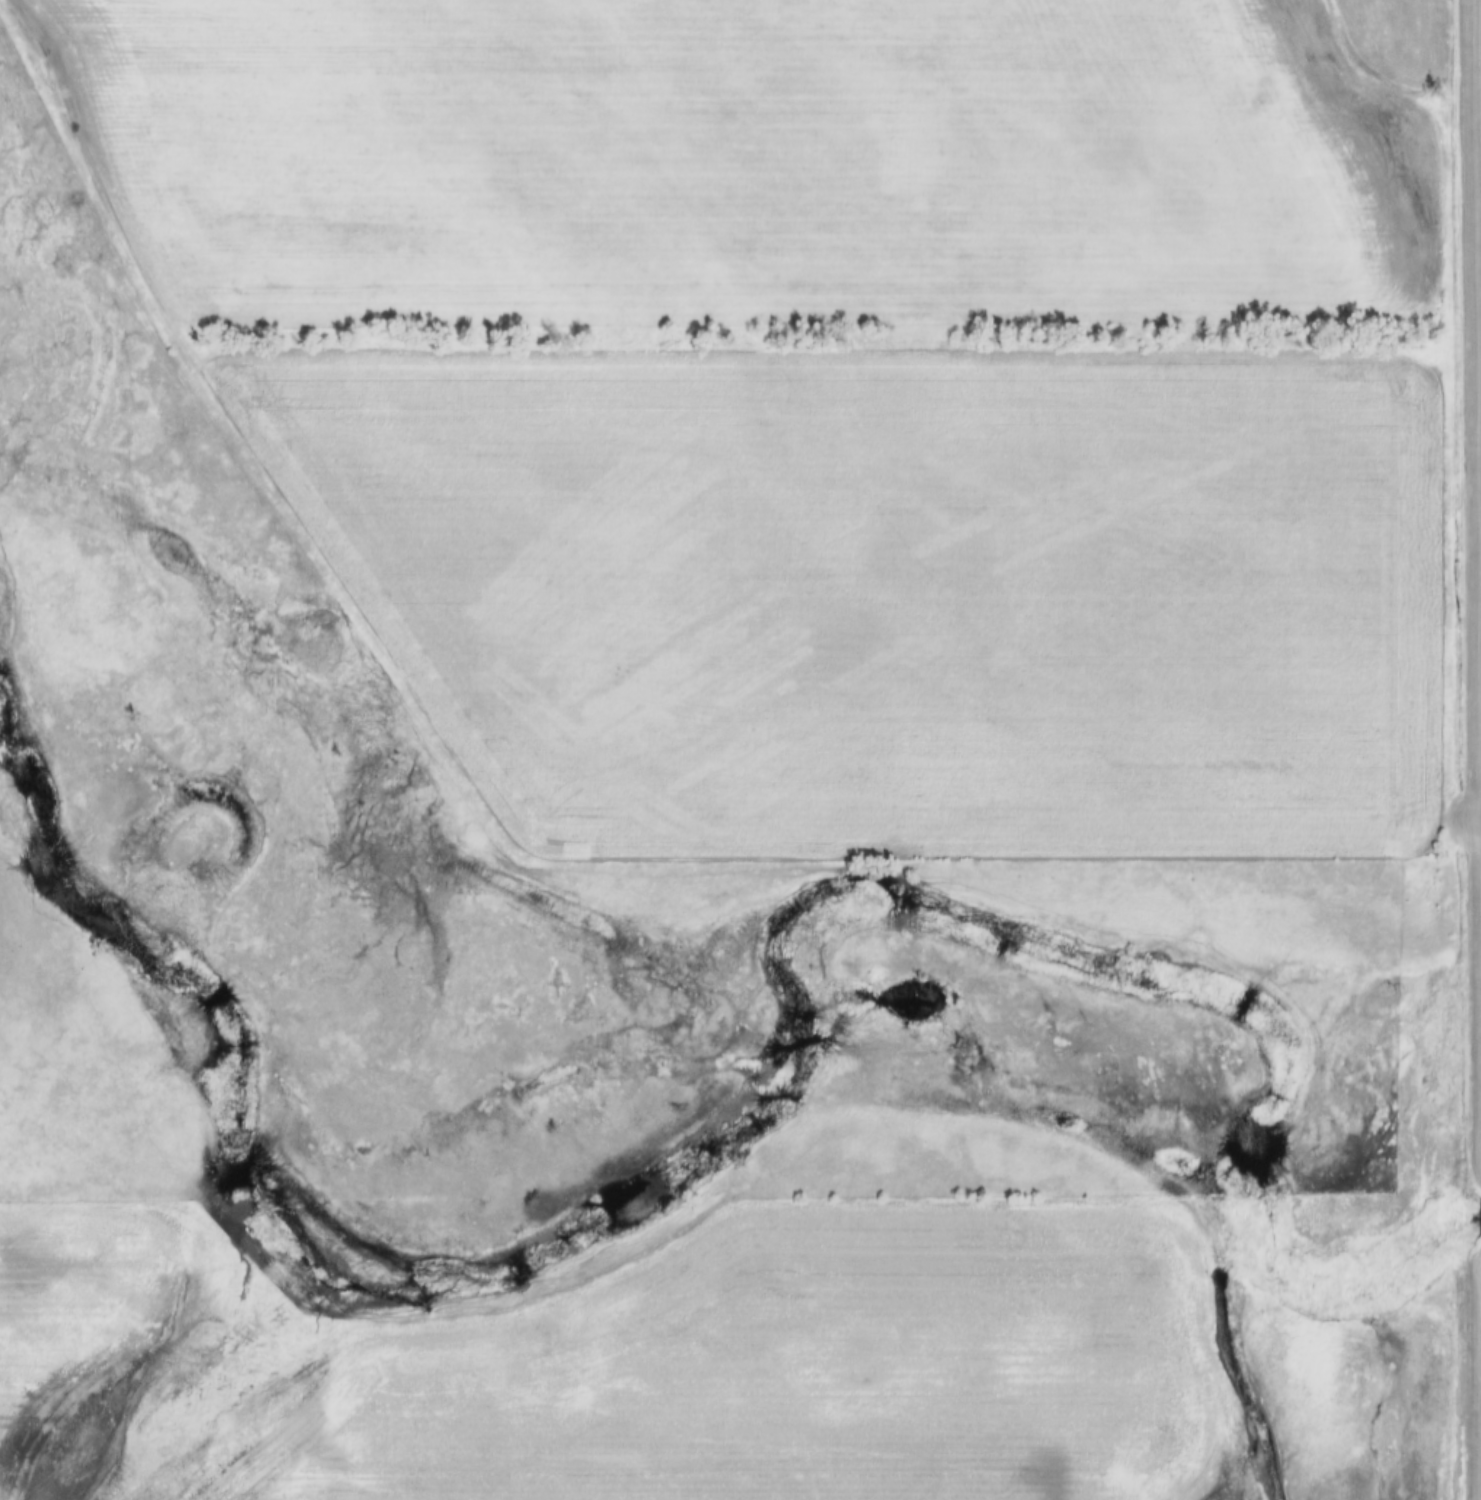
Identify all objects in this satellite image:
road: (91, 152)

